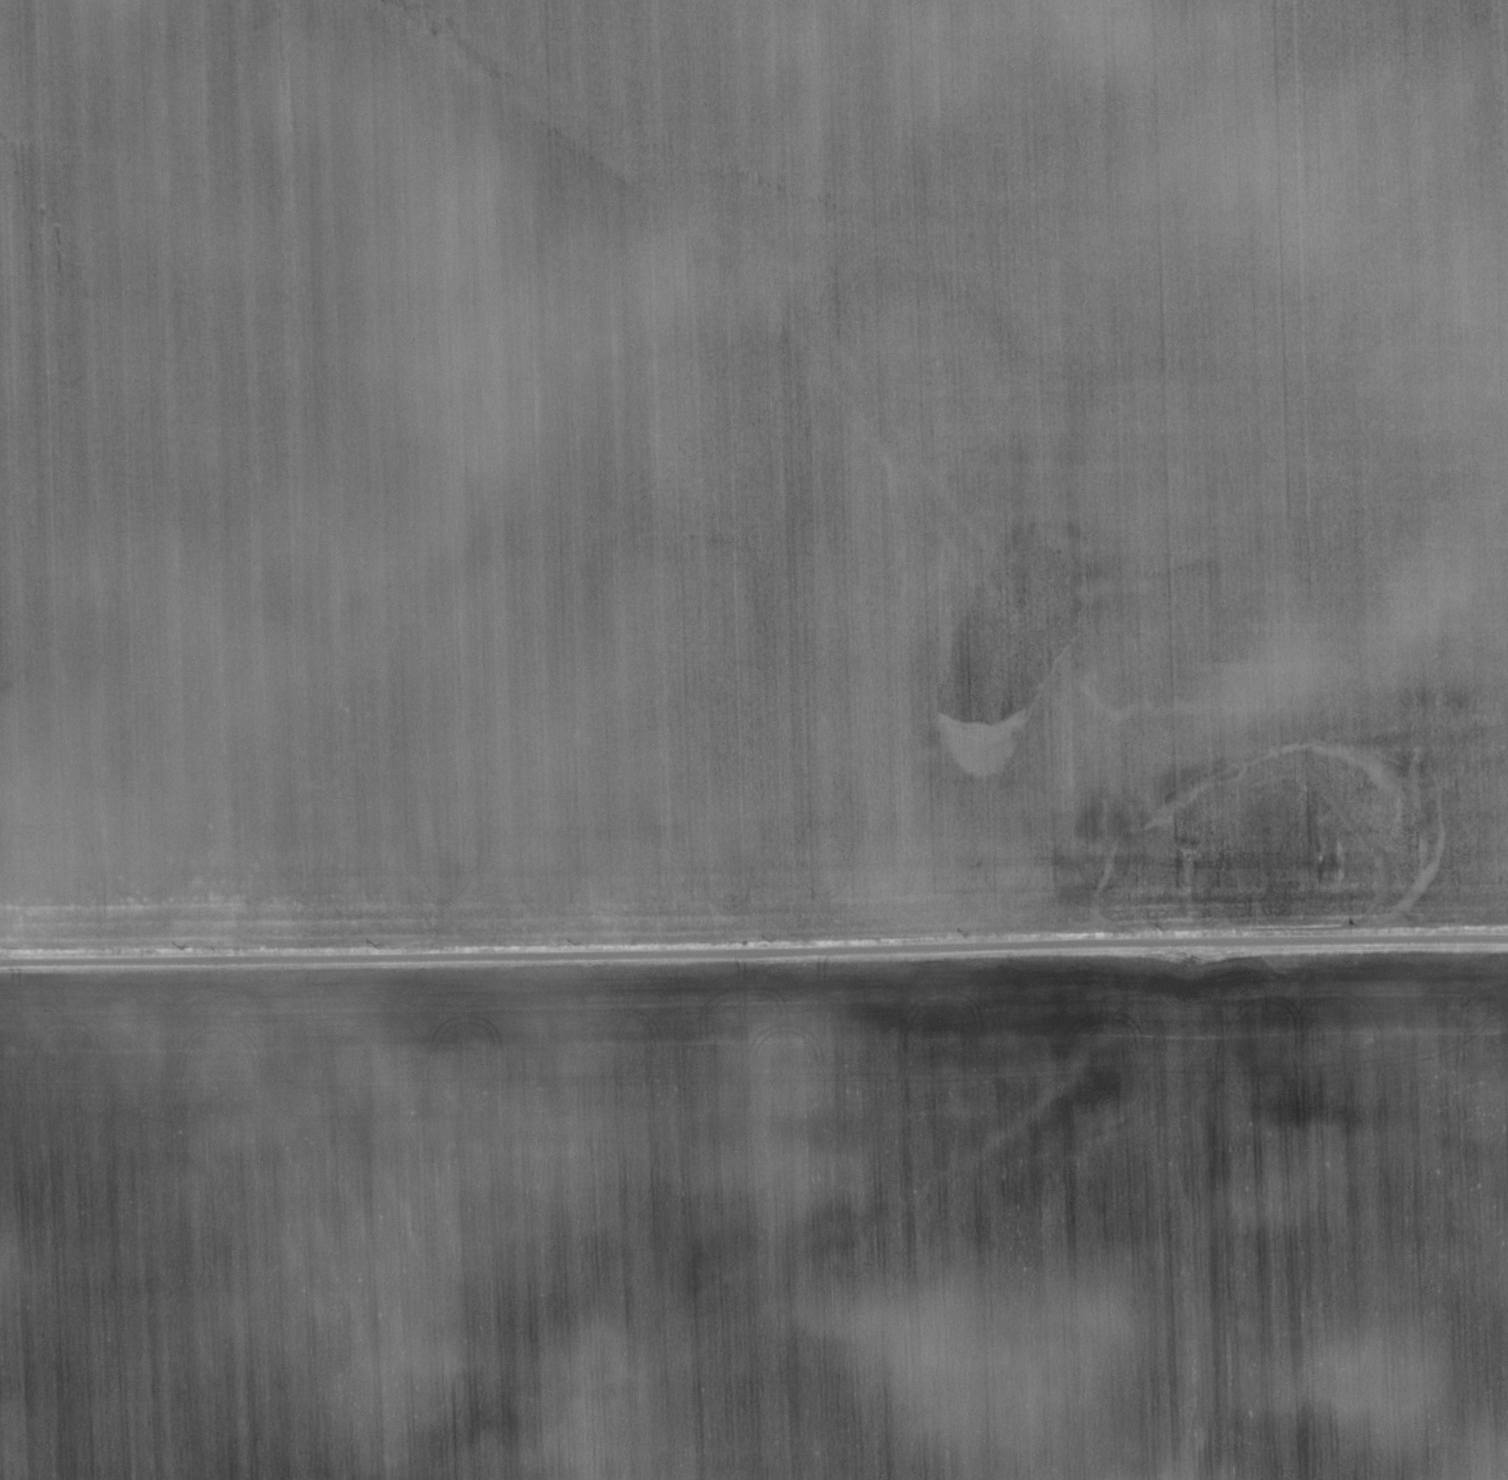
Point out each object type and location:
crop: (750, 468)
road: (754, 950)
crop: (759, 1221)

